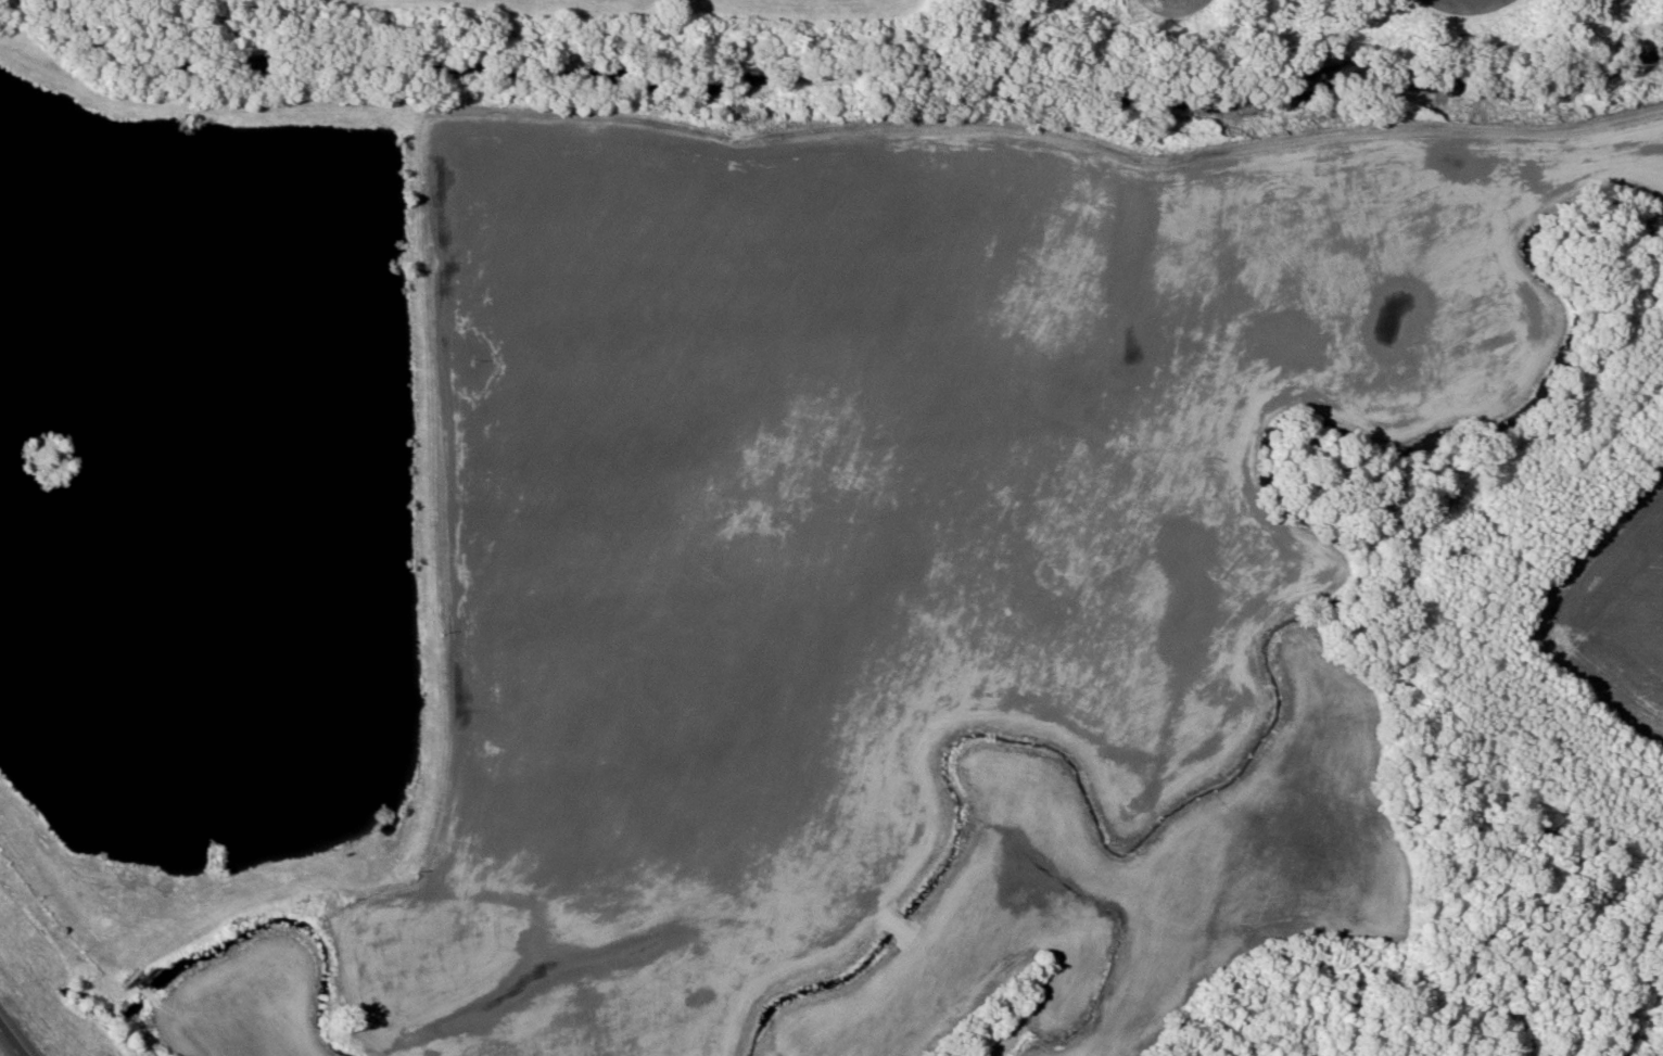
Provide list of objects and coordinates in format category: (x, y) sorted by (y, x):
road: (14, 1035)

